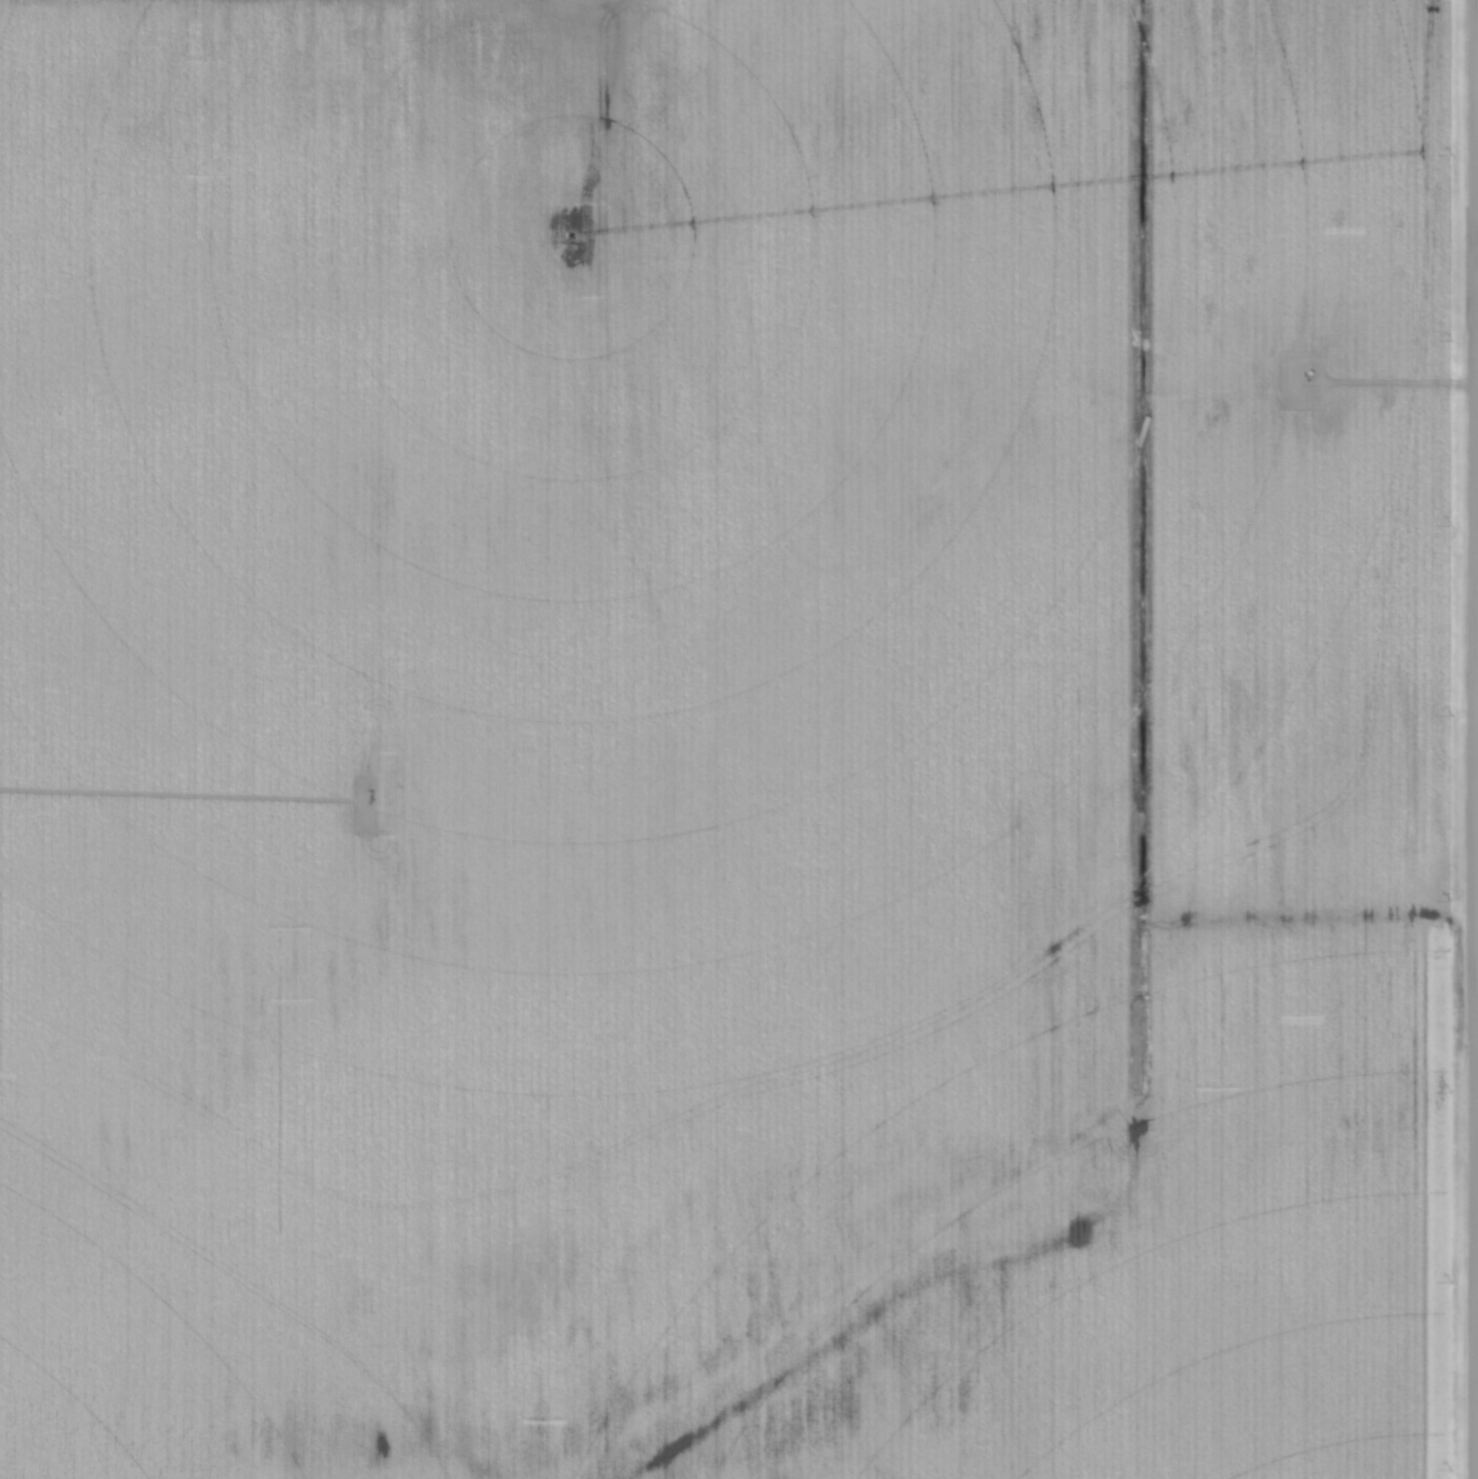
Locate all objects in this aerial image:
road: (1473, 739)

